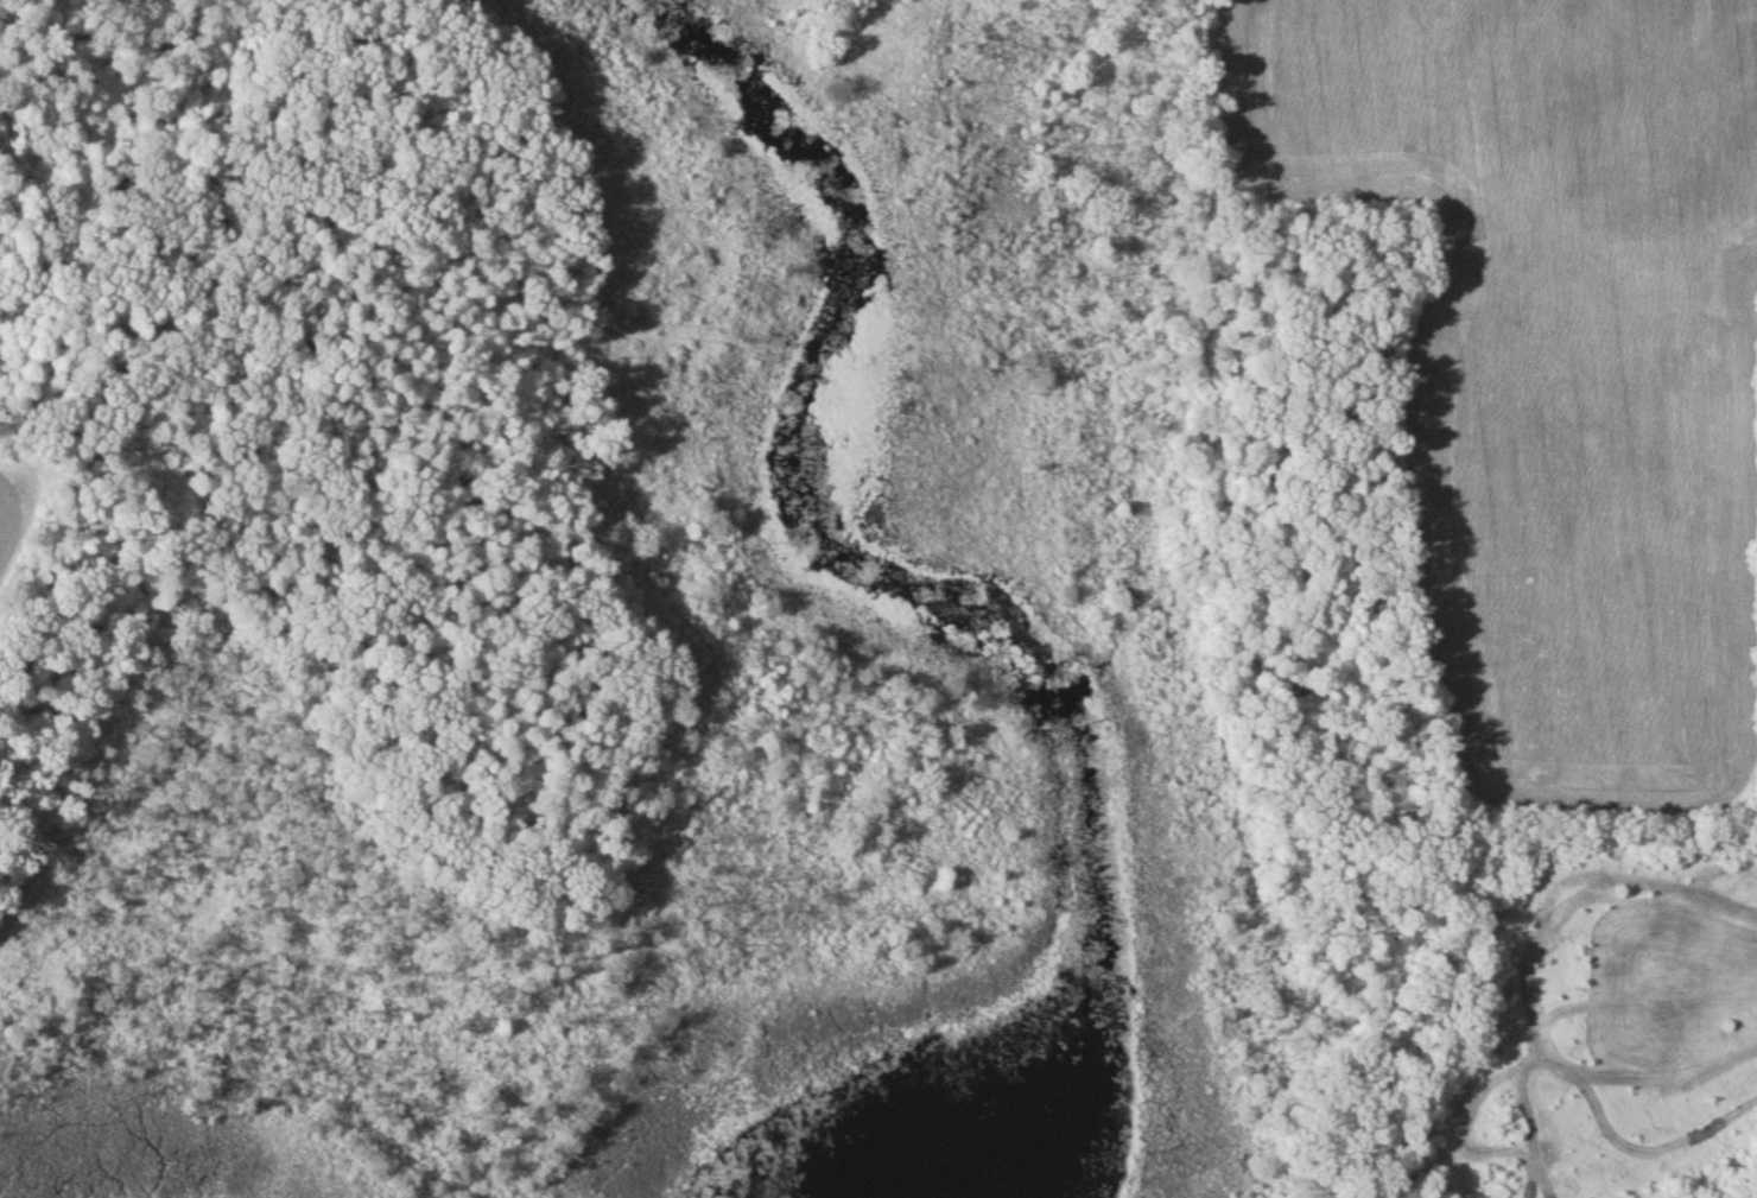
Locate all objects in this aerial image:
river: (822, 515)

